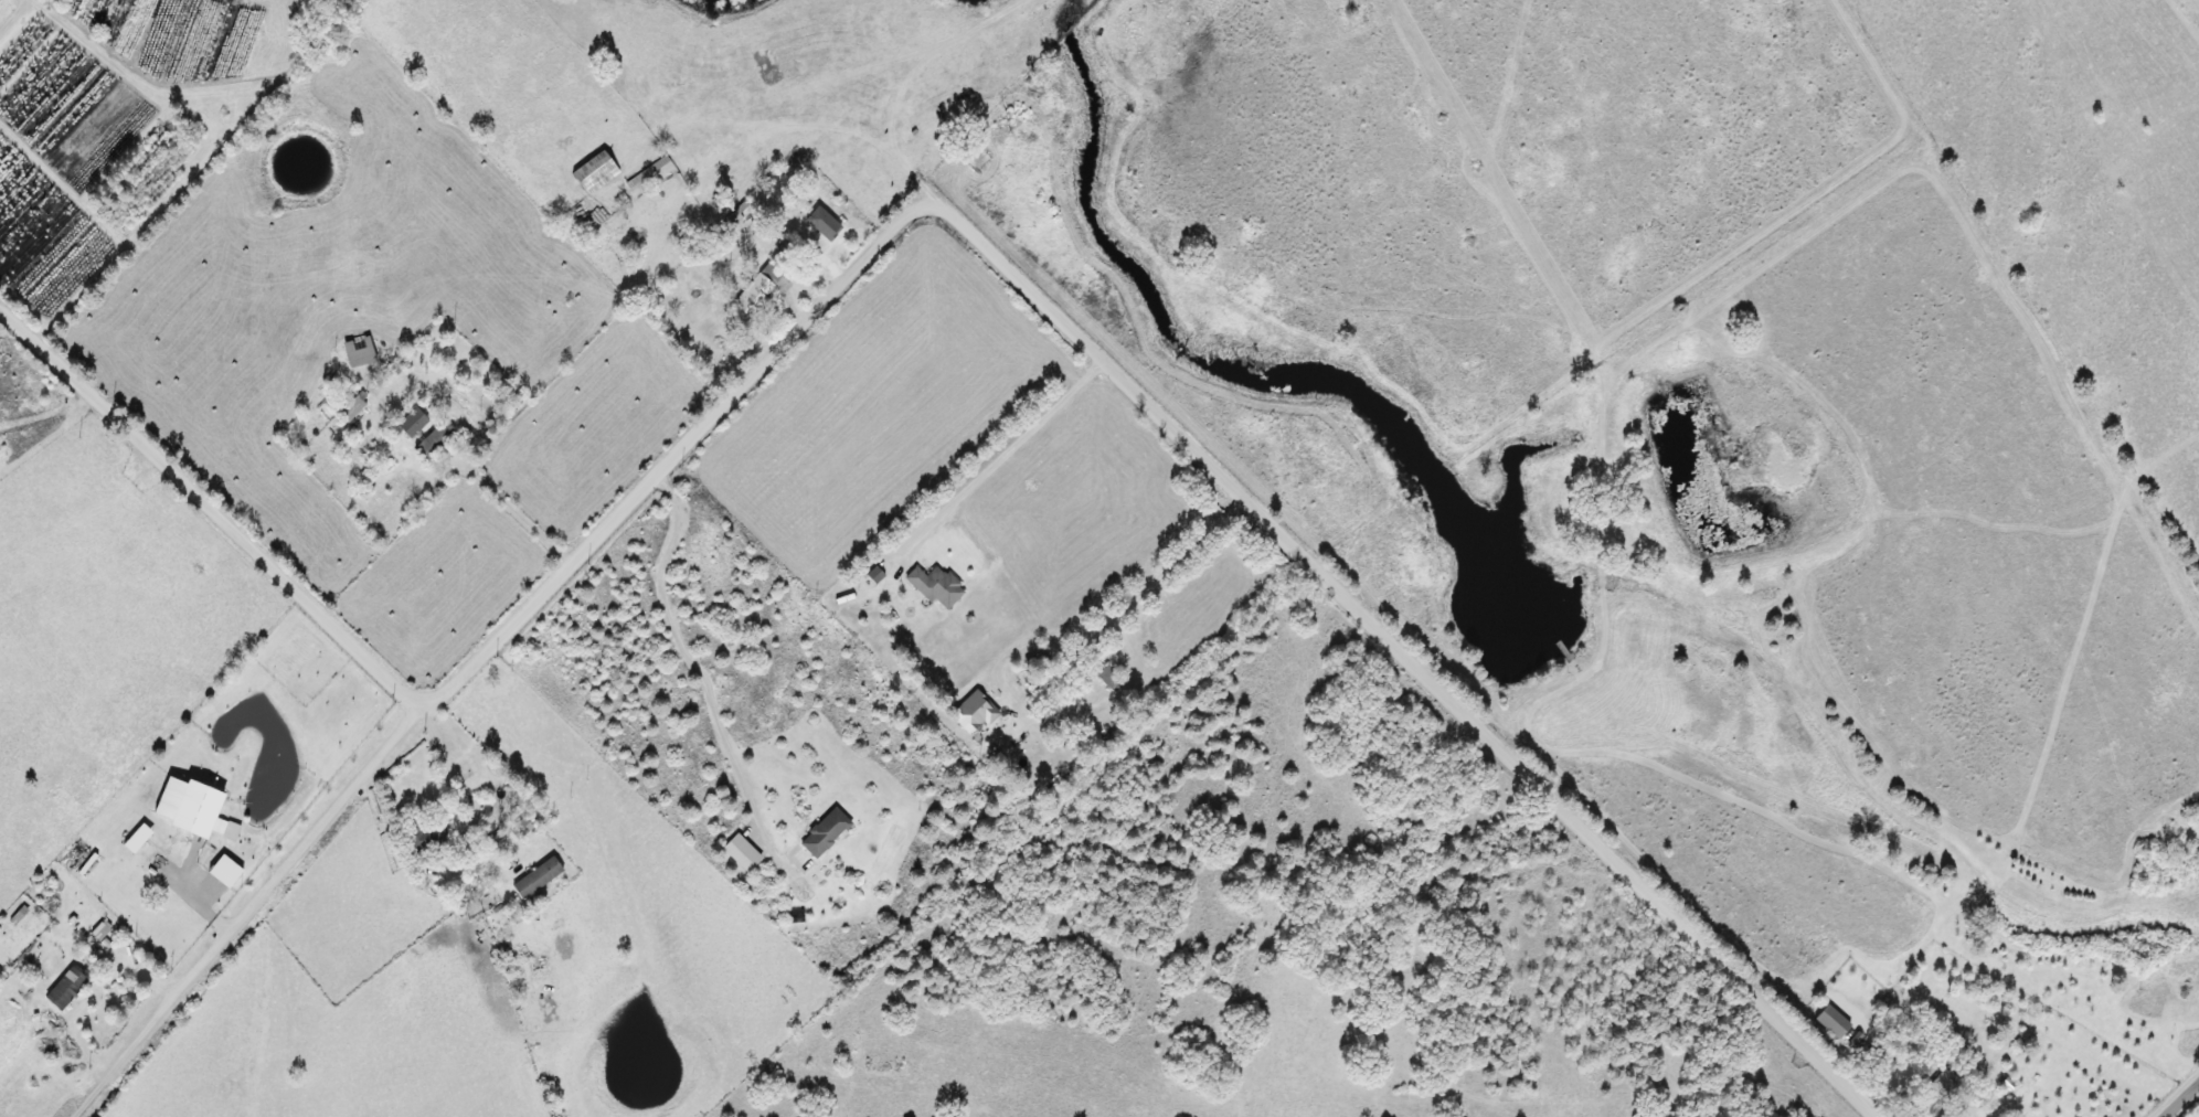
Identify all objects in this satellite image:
road: (8, 10)
building: (592, 173)
road: (944, 205)
building: (819, 227)
building: (756, 290)
building: (355, 352)
building: (347, 407)
building: (410, 423)
building: (431, 445)
road: (998, 456)
building: (932, 585)
road: (1124, 609)
building: (1105, 677)
building: (962, 720)
building: (821, 833)
building: (424, 837)
road: (257, 904)
building: (62, 988)
building: (1829, 1021)
building: (1870, 1055)
building: (1941, 1085)
road: (2180, 1098)

